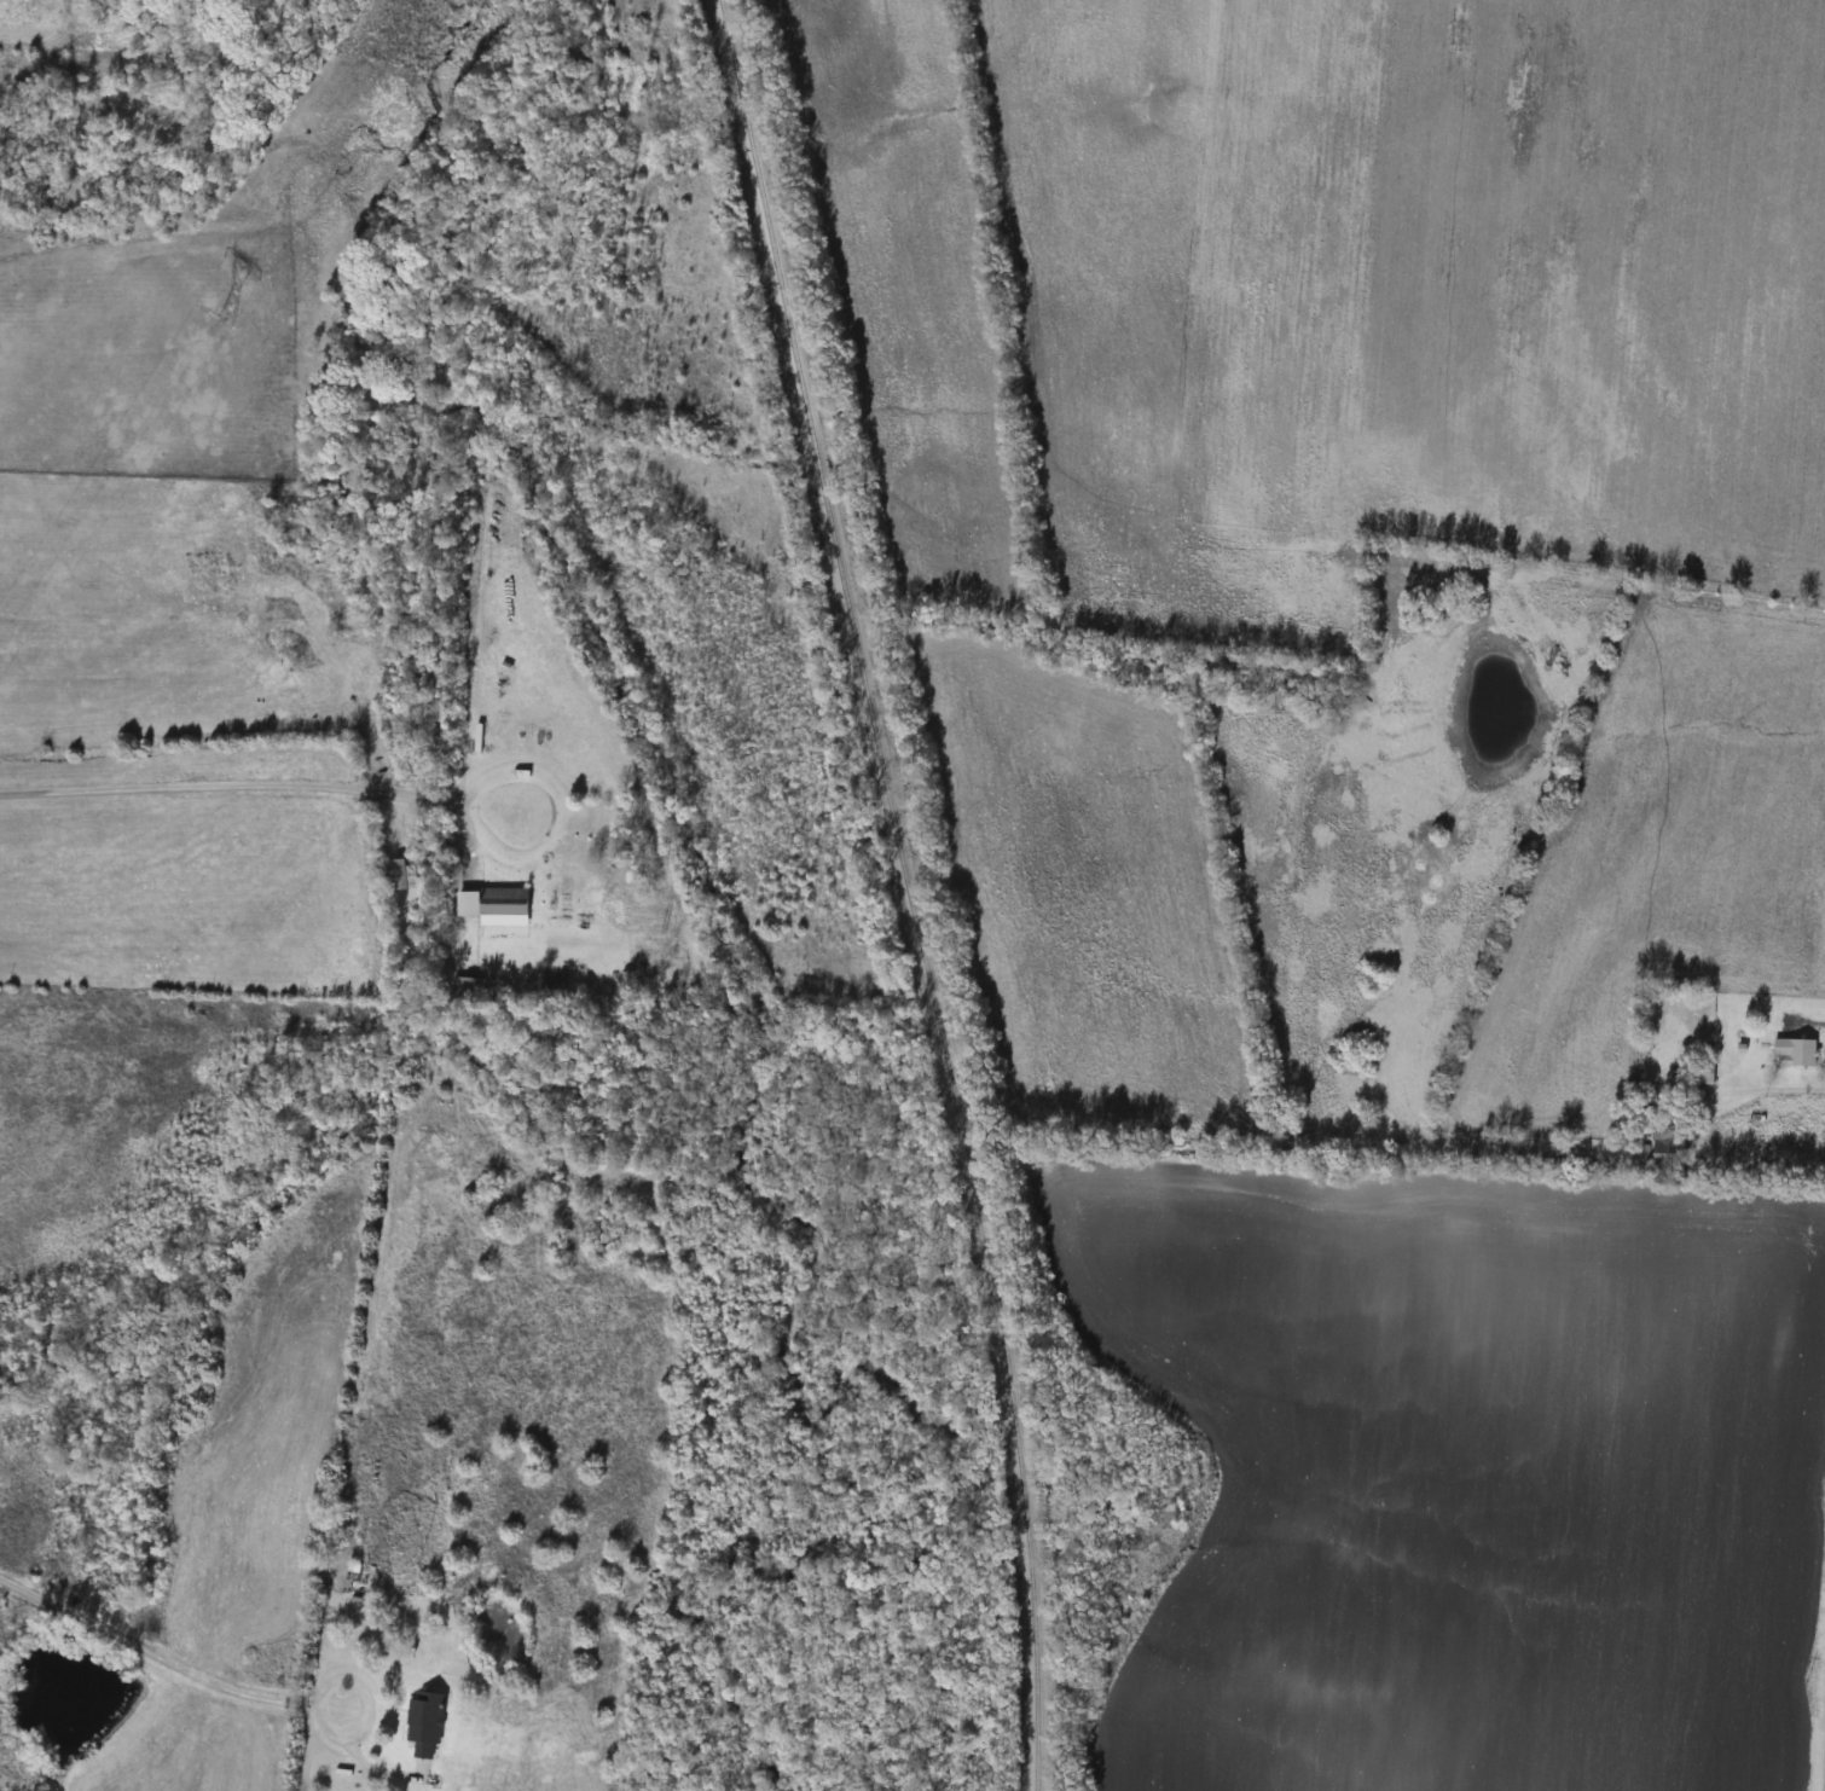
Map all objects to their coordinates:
power tower: (227, 315)
road: (259, 782)
railway: (904, 891)
building: (506, 900)
building: (627, 980)
building: (468, 987)
building: (1795, 1051)
building: (1704, 1072)
road: (1763, 1088)
building: (1667, 1146)
building: (353, 1571)
road: (149, 1651)
road: (373, 1705)
building: (428, 1722)

